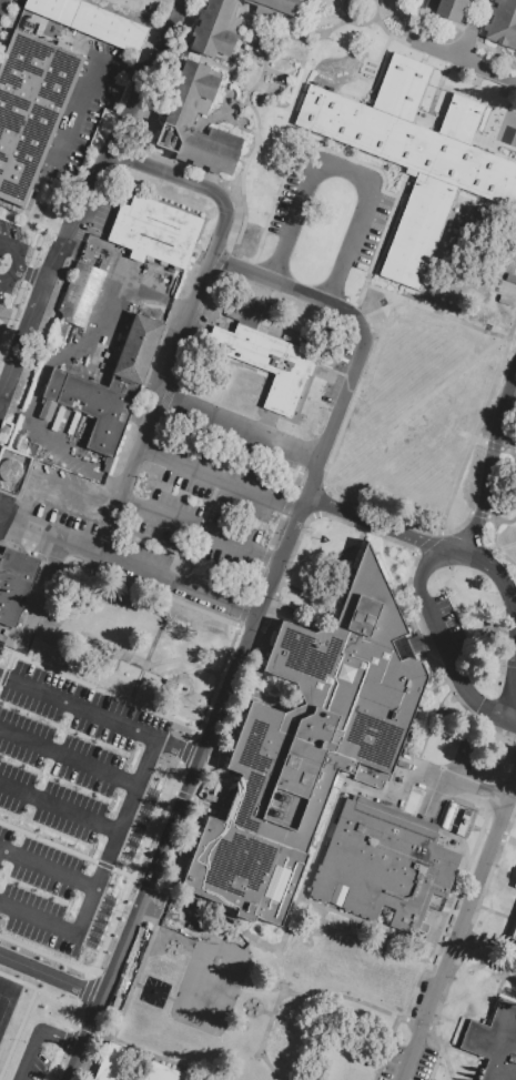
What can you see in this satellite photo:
road: (0, 2)
building: (276, 6)
building: (446, 8)
building: (130, 9)
road: (378, 11)
road: (428, 16)
road: (482, 20)
building: (90, 22)
road: (411, 22)
road: (350, 24)
building: (502, 24)
road: (335, 26)
road: (260, 27)
building: (215, 28)
road: (305, 36)
road: (463, 43)
road: (62, 44)
road: (478, 44)
road: (263, 54)
road: (200, 57)
road: (380, 60)
road: (446, 60)
road: (494, 60)
road: (464, 62)
road: (123, 72)
road: (482, 73)
road: (515, 85)
road: (225, 89)
building: (30, 109)
parking lot: (88, 110)
road: (79, 113)
road: (225, 117)
building: (178, 122)
road: (259, 128)
road: (490, 140)
road: (341, 150)
road: (337, 154)
road: (253, 155)
building: (412, 157)
road: (345, 168)
road: (403, 182)
road: (196, 184)
road: (243, 193)
road: (84, 195)
road: (270, 214)
building: (155, 231)
building: (6, 249)
building: (97, 255)
road: (12, 260)
road: (28, 277)
building: (80, 294)
road: (302, 294)
road: (396, 297)
road: (378, 310)
road: (16, 311)
building: (0, 326)
road: (513, 331)
building: (54, 335)
building: (138, 350)
building: (266, 363)
road: (356, 366)
road: (313, 378)
building: (124, 386)
road: (153, 406)
building: (90, 408)
building: (417, 416)
road: (240, 423)
road: (267, 424)
road: (482, 441)
road: (473, 444)
road: (489, 460)
road: (217, 478)
road: (49, 482)
road: (2, 513)
parking lot: (179, 521)
road: (497, 521)
road: (373, 522)
road: (196, 529)
road: (42, 533)
road: (490, 566)
road: (173, 585)
building: (16, 586)
road: (149, 592)
road: (42, 596)
road: (341, 598)
road: (243, 617)
road: (445, 646)
road: (153, 668)
road: (443, 685)
road: (111, 696)
road: (244, 700)
road: (99, 714)
road: (433, 727)
road: (209, 730)
parking lot: (91, 745)
building: (310, 748)
road: (68, 755)
road: (453, 788)
building: (411, 801)
road: (205, 804)
road: (103, 827)
road: (510, 841)
road: (103, 858)
building: (383, 866)
road: (308, 875)
road: (175, 882)
building: (515, 886)
road: (88, 899)
road: (469, 906)
road: (220, 915)
road: (499, 915)
road: (376, 928)
building: (514, 936)
road: (492, 943)
road: (464, 945)
road: (50, 977)
road: (500, 988)
road: (507, 995)
road: (355, 1001)
road: (37, 1037)
road: (463, 1037)
building: (495, 1043)
road: (386, 1049)
road: (415, 1053)
road: (149, 1054)
road: (464, 1054)
building: (115, 1063)
parking lot: (408, 1063)
road: (448, 1064)
road: (267, 1066)
building: (163, 1072)

